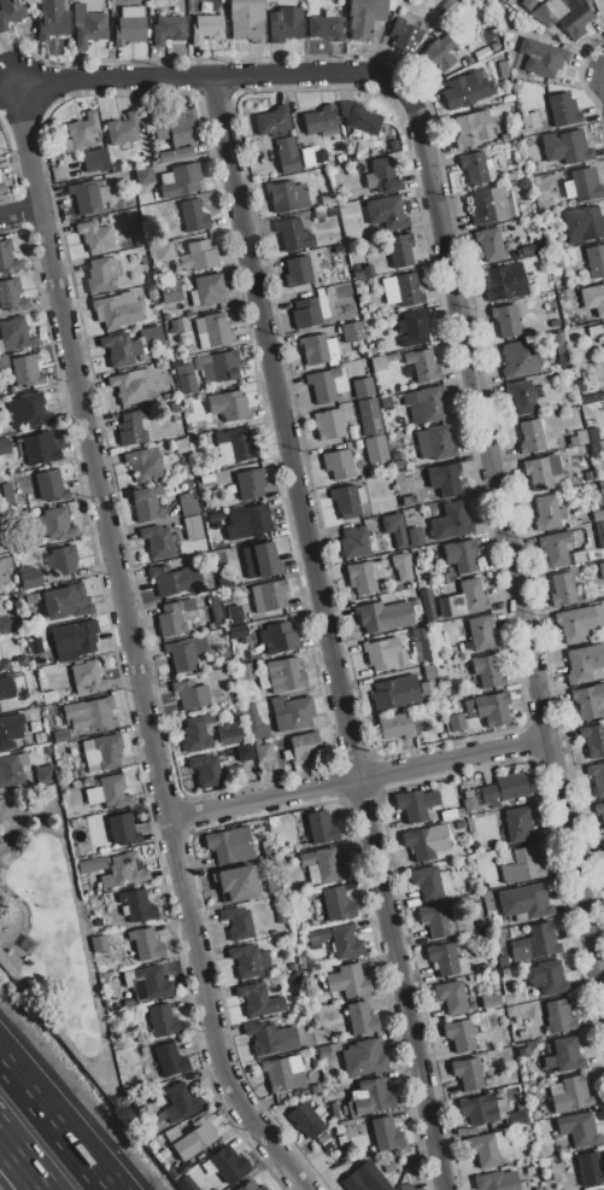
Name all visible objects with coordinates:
building: (527, 4)
building: (448, 6)
building: (499, 7)
building: (10, 12)
building: (564, 16)
building: (364, 17)
building: (52, 19)
building: (246, 19)
building: (286, 24)
building: (129, 25)
building: (88, 27)
building: (324, 27)
building: (206, 28)
building: (166, 29)
building: (405, 36)
building: (534, 43)
building: (494, 46)
building: (438, 54)
building: (549, 62)
building: (503, 69)
road: (209, 80)
building: (459, 93)
building: (563, 110)
building: (358, 118)
building: (272, 121)
building: (321, 121)
building: (530, 121)
building: (176, 128)
building: (123, 129)
building: (471, 129)
building: (81, 133)
building: (565, 147)
building: (377, 152)
building: (175, 154)
building: (287, 154)
building: (312, 157)
building: (95, 161)
building: (475, 167)
building: (145, 175)
building: (382, 177)
building: (182, 181)
building: (582, 185)
building: (2, 187)
building: (88, 197)
building: (288, 197)
building: (489, 205)
building: (332, 210)
road: (19, 212)
building: (319, 214)
building: (387, 214)
building: (192, 216)
building: (582, 224)
building: (293, 234)
building: (95, 237)
building: (491, 245)
building: (400, 250)
building: (162, 252)
building: (8, 256)
building: (198, 257)
building: (596, 261)
building: (299, 270)
building: (360, 270)
building: (100, 276)
building: (506, 281)
building: (207, 290)
building: (403, 290)
building: (329, 291)
building: (151, 292)
building: (170, 292)
building: (12, 294)
building: (123, 298)
building: (593, 299)
building: (101, 303)
building: (311, 311)
building: (119, 315)
building: (508, 321)
building: (175, 326)
building: (603, 326)
building: (414, 328)
building: (213, 331)
building: (352, 332)
building: (16, 334)
building: (129, 346)
building: (318, 350)
building: (392, 357)
building: (521, 358)
building: (4, 362)
building: (377, 363)
building: (423, 366)
building: (218, 369)
building: (27, 372)
building: (184, 378)
building: (131, 385)
building: (327, 385)
building: (363, 387)
building: (523, 398)
building: (430, 402)
building: (386, 403)
building: (228, 406)
building: (29, 410)
building: (370, 416)
building: (328, 424)
building: (131, 428)
building: (592, 434)
building: (530, 436)
building: (581, 437)
building: (436, 442)
building: (235, 447)
building: (37, 449)
building: (376, 449)
building: (143, 463)
building: (338, 465)
building: (543, 472)
building: (588, 476)
building: (445, 479)
building: (251, 484)
building: (49, 486)
building: (600, 486)
building: (360, 496)
building: (184, 497)
building: (407, 501)
building: (346, 502)
building: (147, 503)
building: (189, 507)
building: (549, 512)
building: (216, 517)
building: (411, 519)
building: (451, 524)
building: (58, 525)
building: (252, 525)
building: (194, 529)
building: (394, 530)
building: (599, 533)
building: (415, 537)
building: (158, 542)
building: (353, 542)
road: (506, 542)
building: (562, 550)
building: (462, 555)
building: (259, 560)
building: (61, 561)
building: (403, 567)
building: (602, 571)
building: (2, 573)
building: (366, 576)
building: (29, 578)
building: (175, 581)
building: (563, 589)
building: (272, 596)
building: (71, 601)
building: (464, 601)
building: (428, 606)
building: (235, 616)
building: (175, 617)
building: (383, 617)
building: (2, 619)
building: (580, 623)
building: (211, 626)
building: (236, 632)
road: (330, 634)
building: (481, 634)
building: (76, 636)
building: (278, 638)
building: (421, 644)
road: (134, 647)
building: (187, 654)
building: (385, 654)
building: (586, 664)
building: (4, 665)
building: (487, 671)
building: (429, 672)
building: (245, 673)
building: (285, 675)
building: (88, 677)
building: (445, 684)
building: (428, 688)
building: (395, 694)
building: (6, 695)
building: (193, 695)
building: (591, 702)
building: (488, 708)
building: (88, 714)
building: (292, 714)
building: (254, 723)
building: (456, 723)
building: (395, 727)
building: (10, 730)
building: (60, 736)
building: (195, 736)
building: (39, 737)
building: (229, 737)
building: (593, 740)
building: (303, 748)
building: (46, 751)
building: (104, 752)
building: (263, 752)
building: (245, 753)
building: (12, 770)
building: (207, 770)
building: (45, 775)
building: (597, 777)
road: (359, 780)
building: (504, 789)
building: (110, 792)
building: (468, 804)
building: (415, 805)
building: (599, 810)
building: (520, 826)
building: (322, 828)
building: (123, 829)
building: (603, 832)
building: (427, 842)
building: (603, 842)
building: (231, 846)
building: (90, 864)
building: (324, 864)
building: (522, 867)
building: (125, 870)
building: (430, 882)
building: (238, 883)
building: (524, 902)
building: (338, 904)
building: (137, 905)
building: (436, 921)
building: (236, 923)
building: (340, 940)
building: (99, 944)
building: (535, 944)
building: (147, 945)
building: (446, 959)
building: (248, 961)
building: (547, 978)
building: (347, 981)
building: (151, 984)
building: (451, 997)
building: (258, 1001)
building: (559, 1016)
building: (362, 1019)
building: (164, 1021)
building: (459, 1036)
building: (271, 1038)
building: (568, 1055)
building: (363, 1057)
building: (171, 1060)
building: (285, 1072)
building: (468, 1073)
building: (569, 1095)
building: (371, 1097)
building: (178, 1102)
building: (500, 1108)
building: (479, 1109)
building: (335, 1110)
building: (348, 1110)
building: (518, 1118)
road: (55, 1121)
building: (306, 1121)
building: (339, 1130)
building: (580, 1131)
building: (386, 1133)
building: (194, 1138)
building: (342, 1142)
building: (487, 1148)
road: (5, 1166)
building: (227, 1166)
building: (590, 1169)
building: (364, 1179)
road: (14, 1182)
road: (18, 1182)
building: (495, 1182)
building: (187, 1184)
building: (252, 1186)
building: (404, 1186)
building: (602, 1189)

